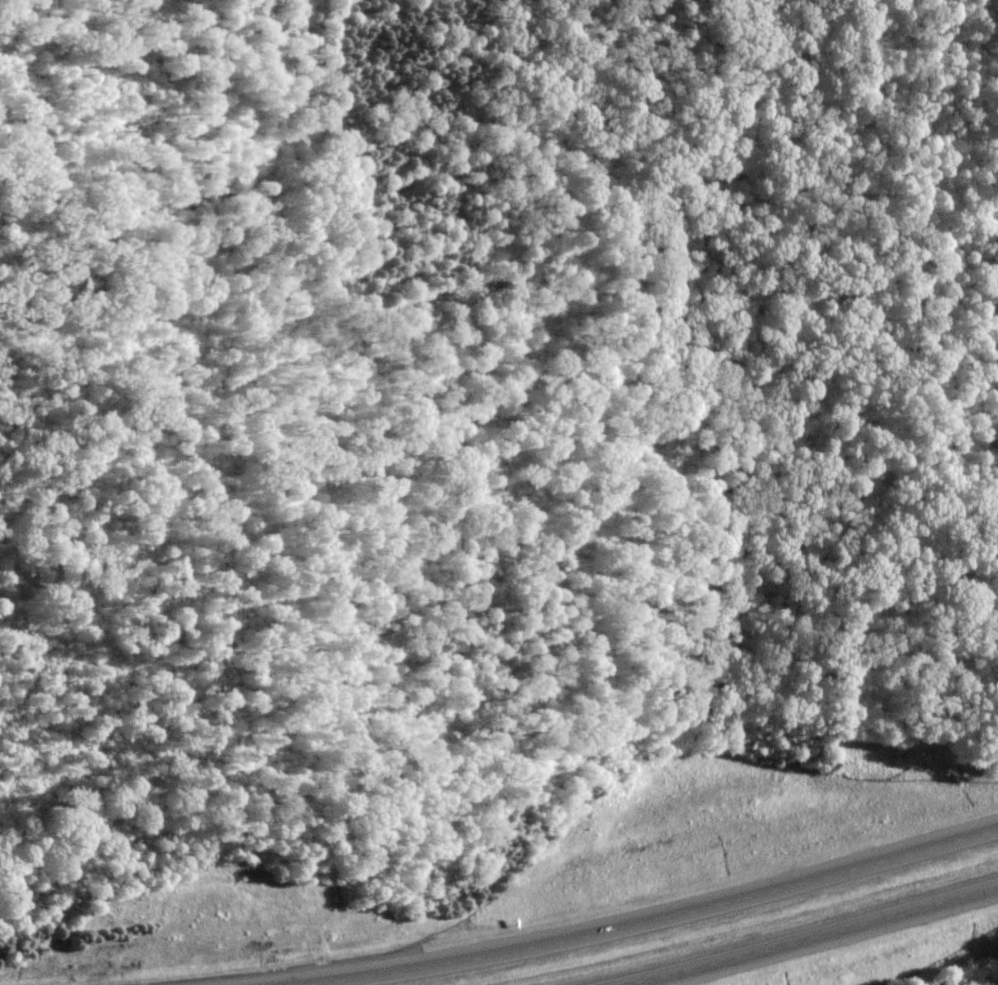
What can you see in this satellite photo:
road: (663, 916)
road: (809, 937)

